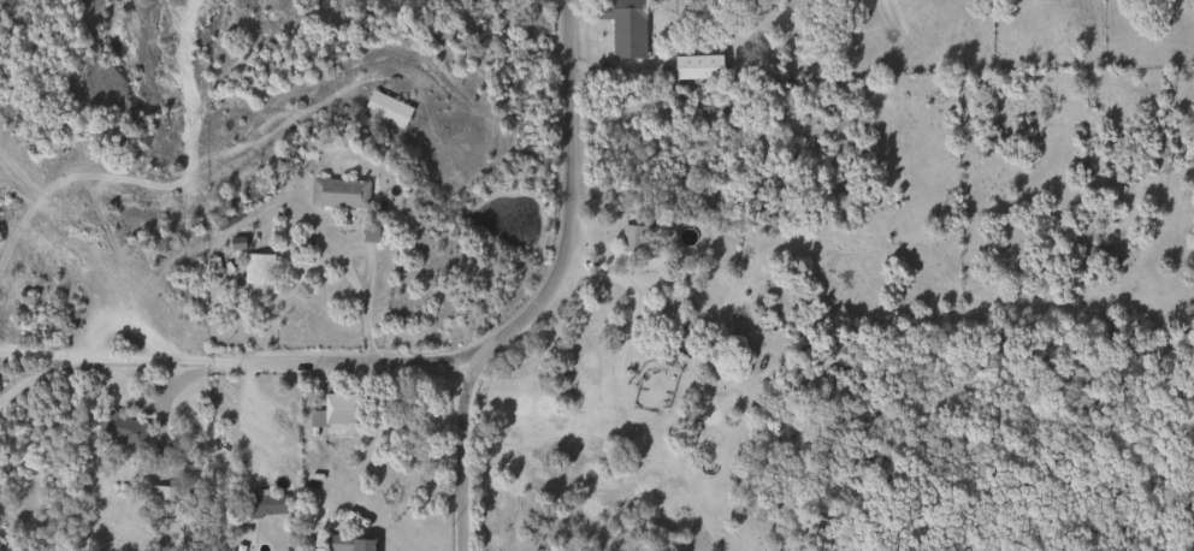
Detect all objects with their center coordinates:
building: (490, 0)
building: (621, 26)
building: (694, 67)
building: (384, 109)
building: (336, 194)
building: (632, 242)
building: (255, 269)
road: (530, 298)
road: (626, 325)
road: (120, 357)
building: (668, 360)
building: (333, 410)
building: (119, 431)
road: (459, 454)
building: (187, 474)
building: (4, 491)
building: (261, 506)
building: (345, 544)

